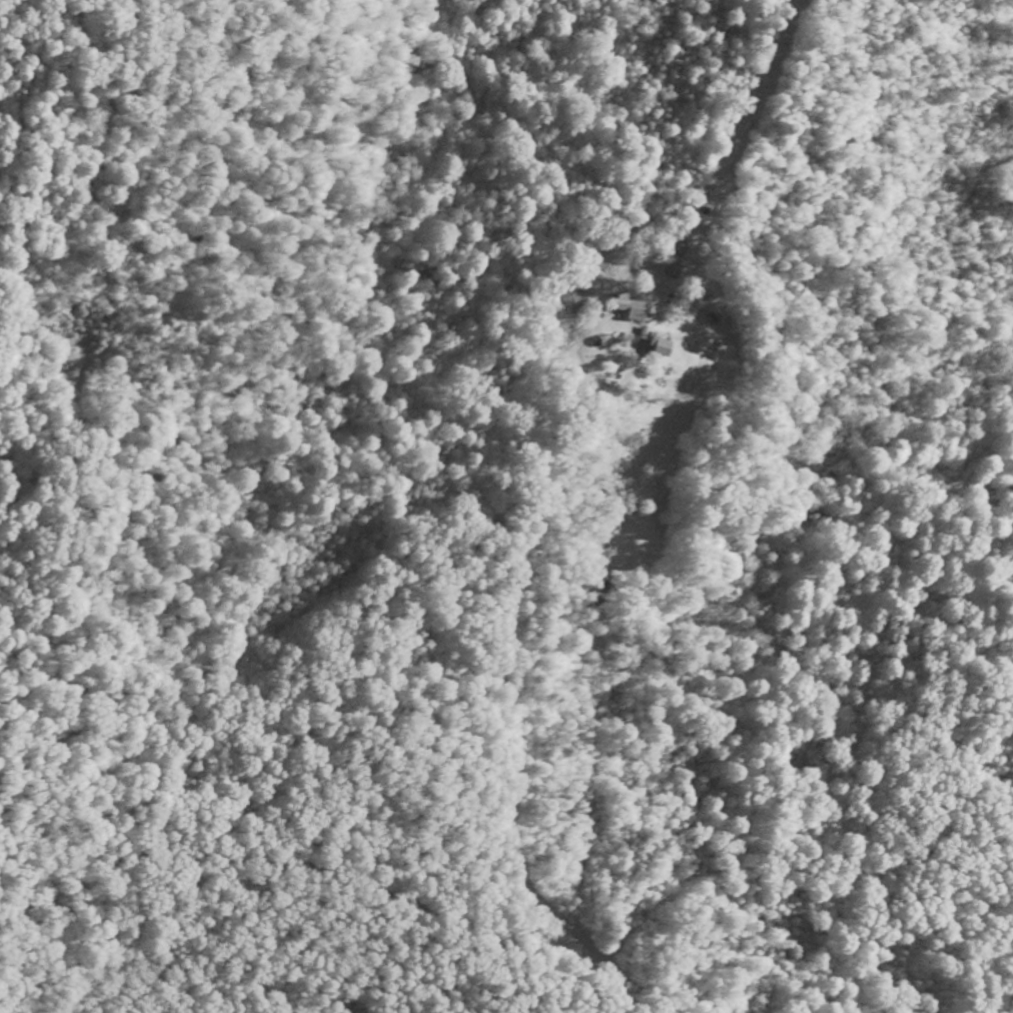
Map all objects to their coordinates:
road: (58, 676)
road: (328, 871)

